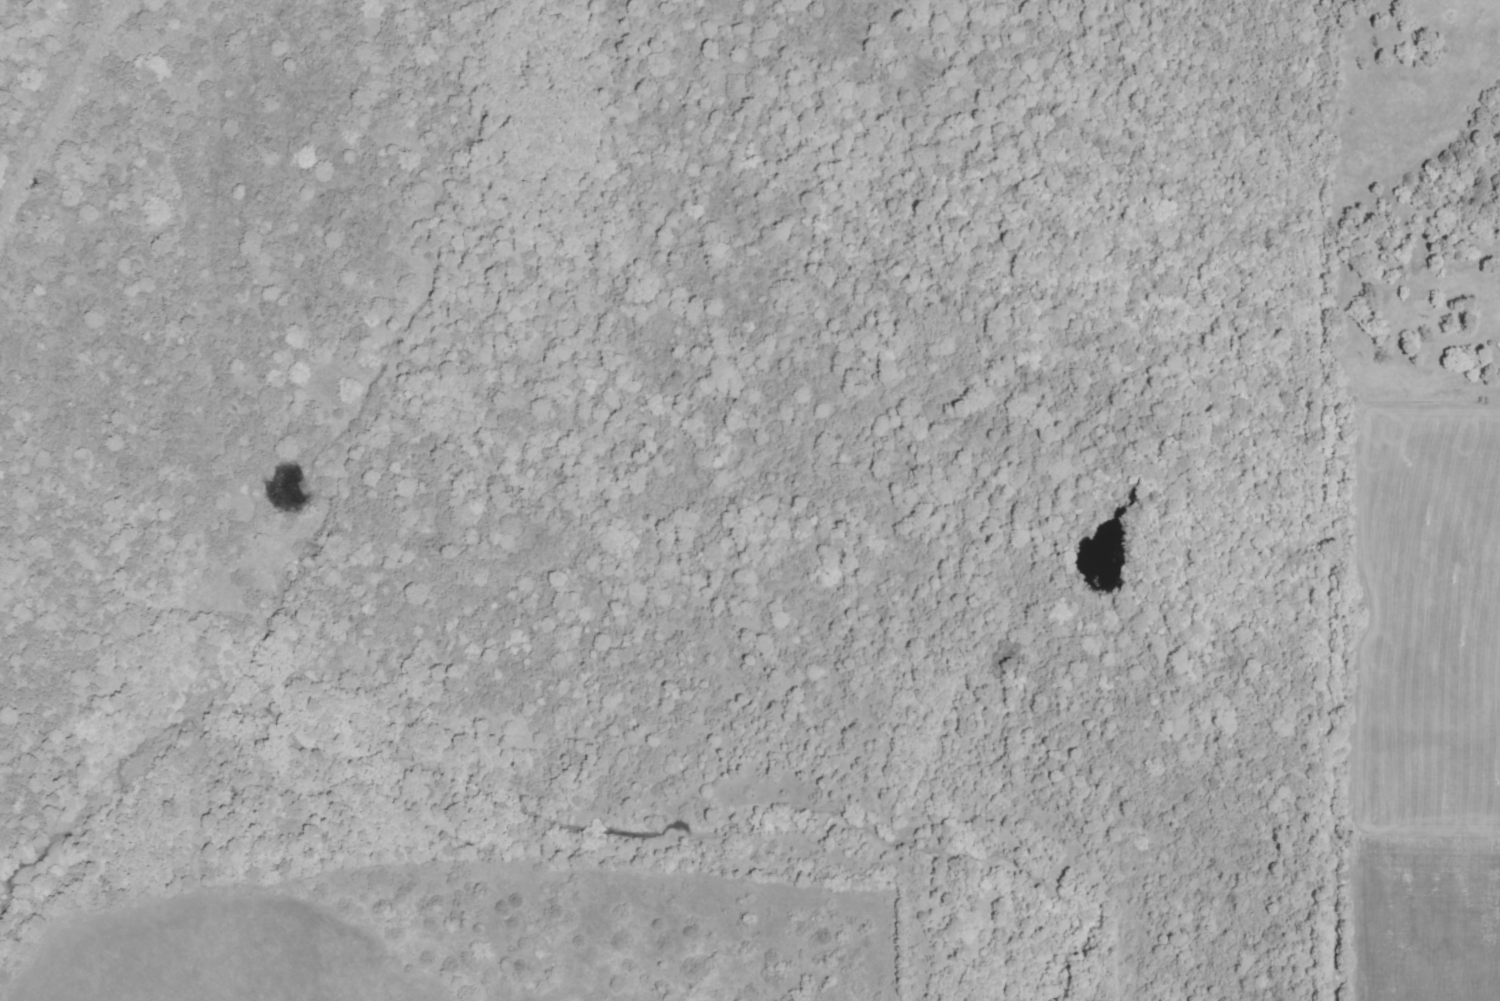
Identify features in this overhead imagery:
road: (56, 106)

